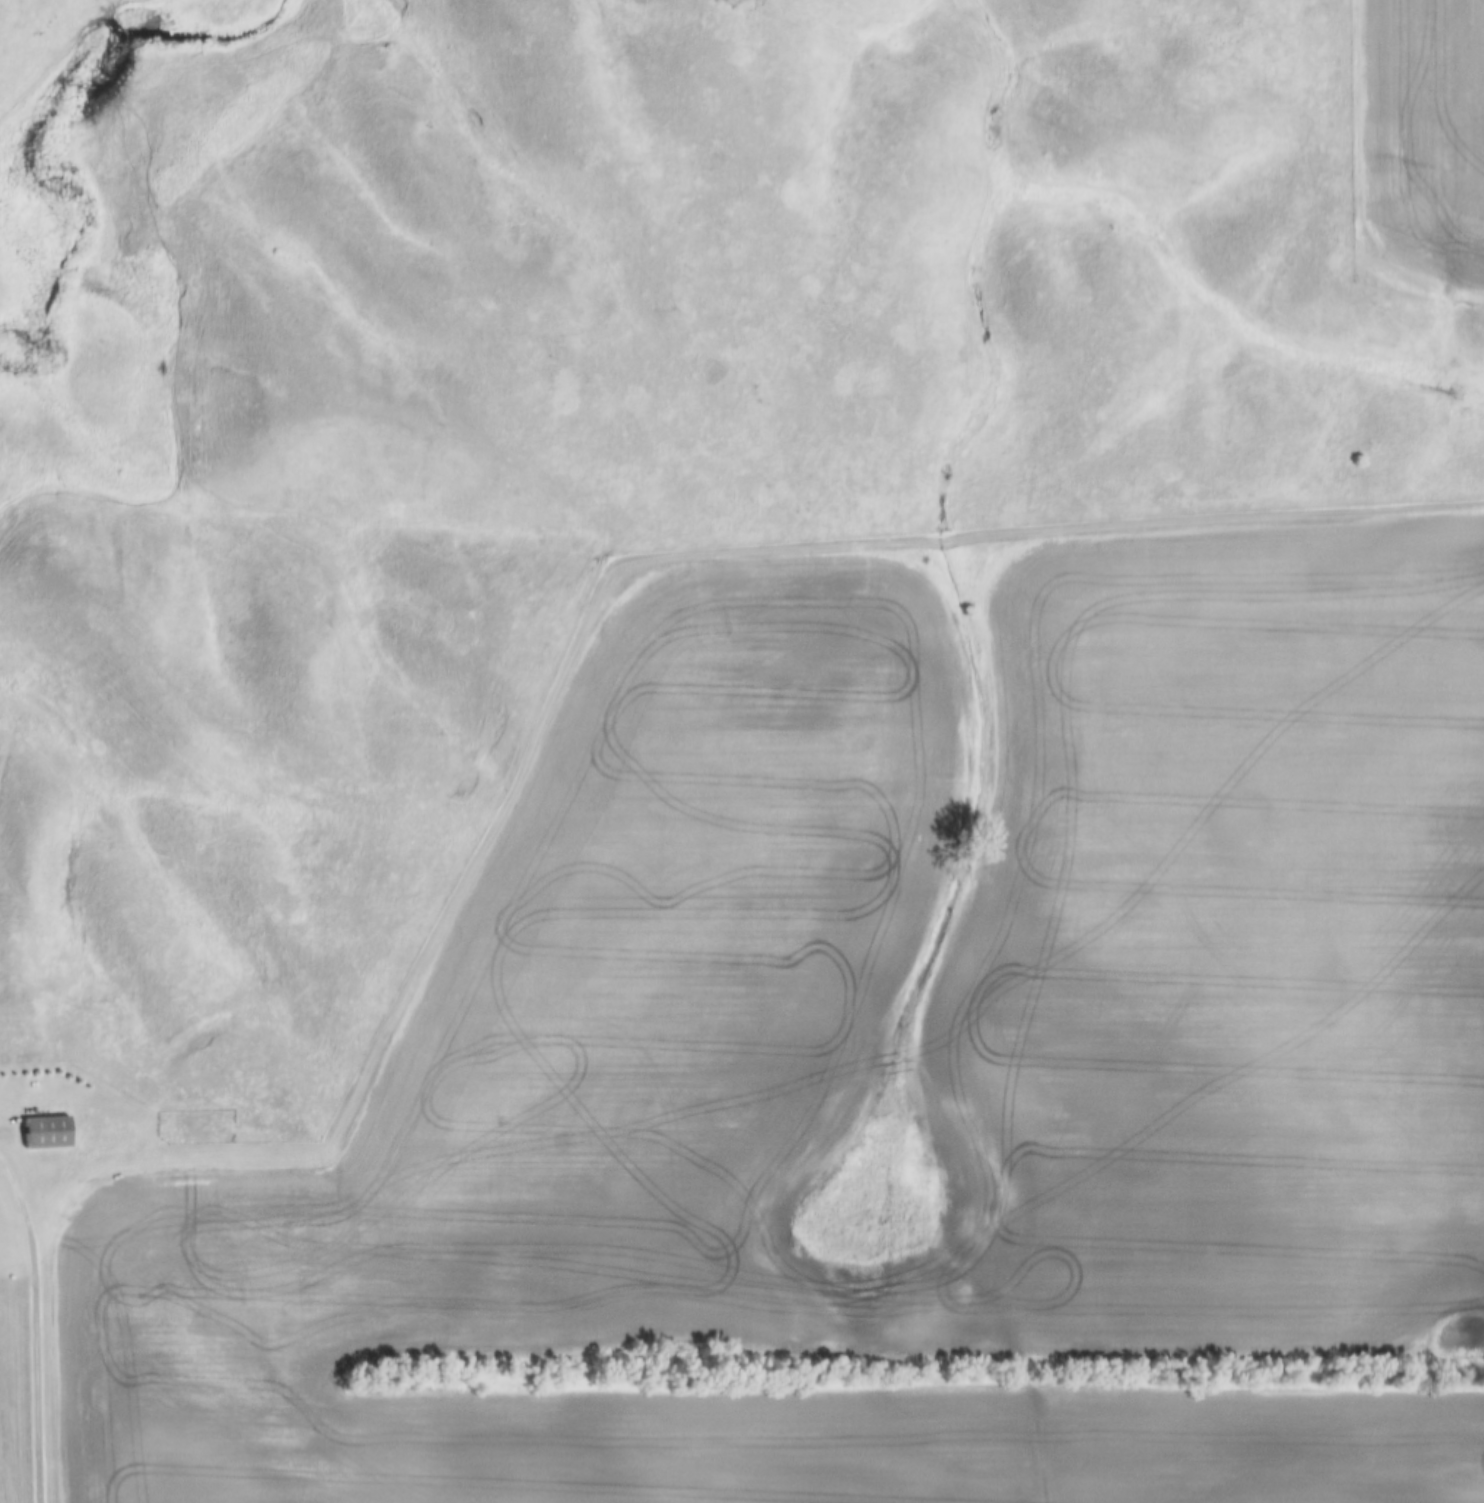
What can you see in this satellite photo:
building: (43, 1131)
road: (35, 1310)

